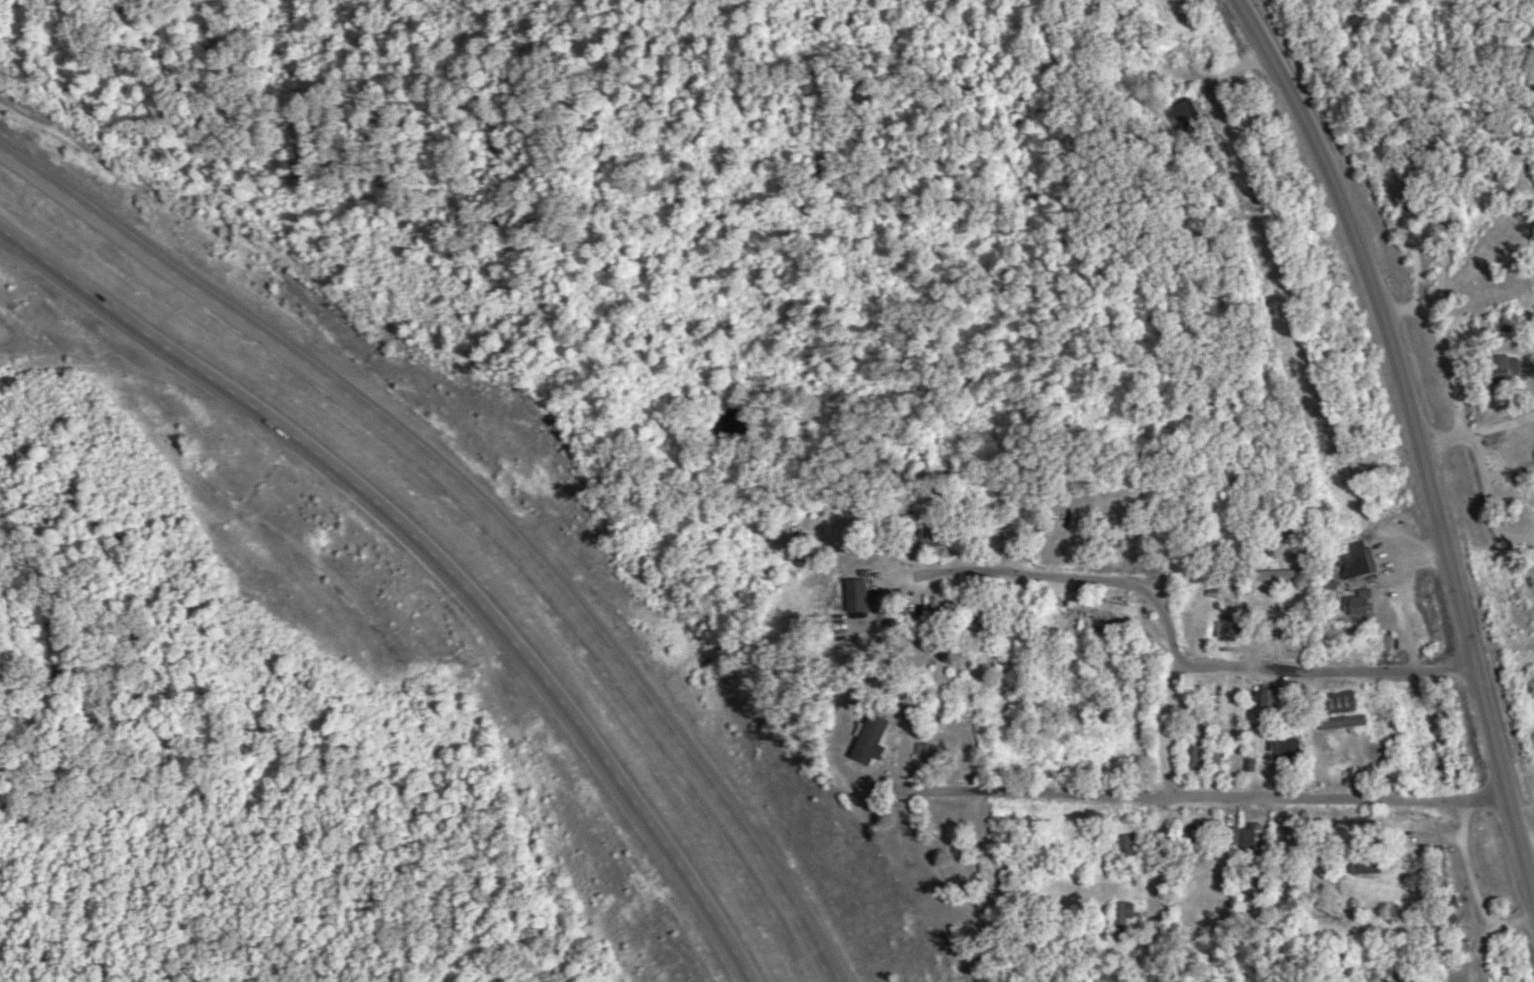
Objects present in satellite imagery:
building: (1188, 113)
building: (1497, 327)
road: (1419, 437)
road: (471, 515)
building: (931, 532)
building: (1360, 560)
road: (423, 566)
building: (1283, 575)
road: (1080, 577)
building: (858, 594)
building: (1360, 604)
building: (1113, 608)
building: (1226, 629)
building: (1389, 641)
road: (1211, 667)
building: (1269, 700)
building: (1338, 703)
building: (1344, 722)
building: (876, 739)
building: (1216, 756)
building: (1194, 758)
road: (1208, 798)
building: (1251, 837)
building: (1192, 840)
building: (1127, 845)
building: (1366, 864)
building: (980, 870)
road: (1475, 882)
building: (1121, 921)

